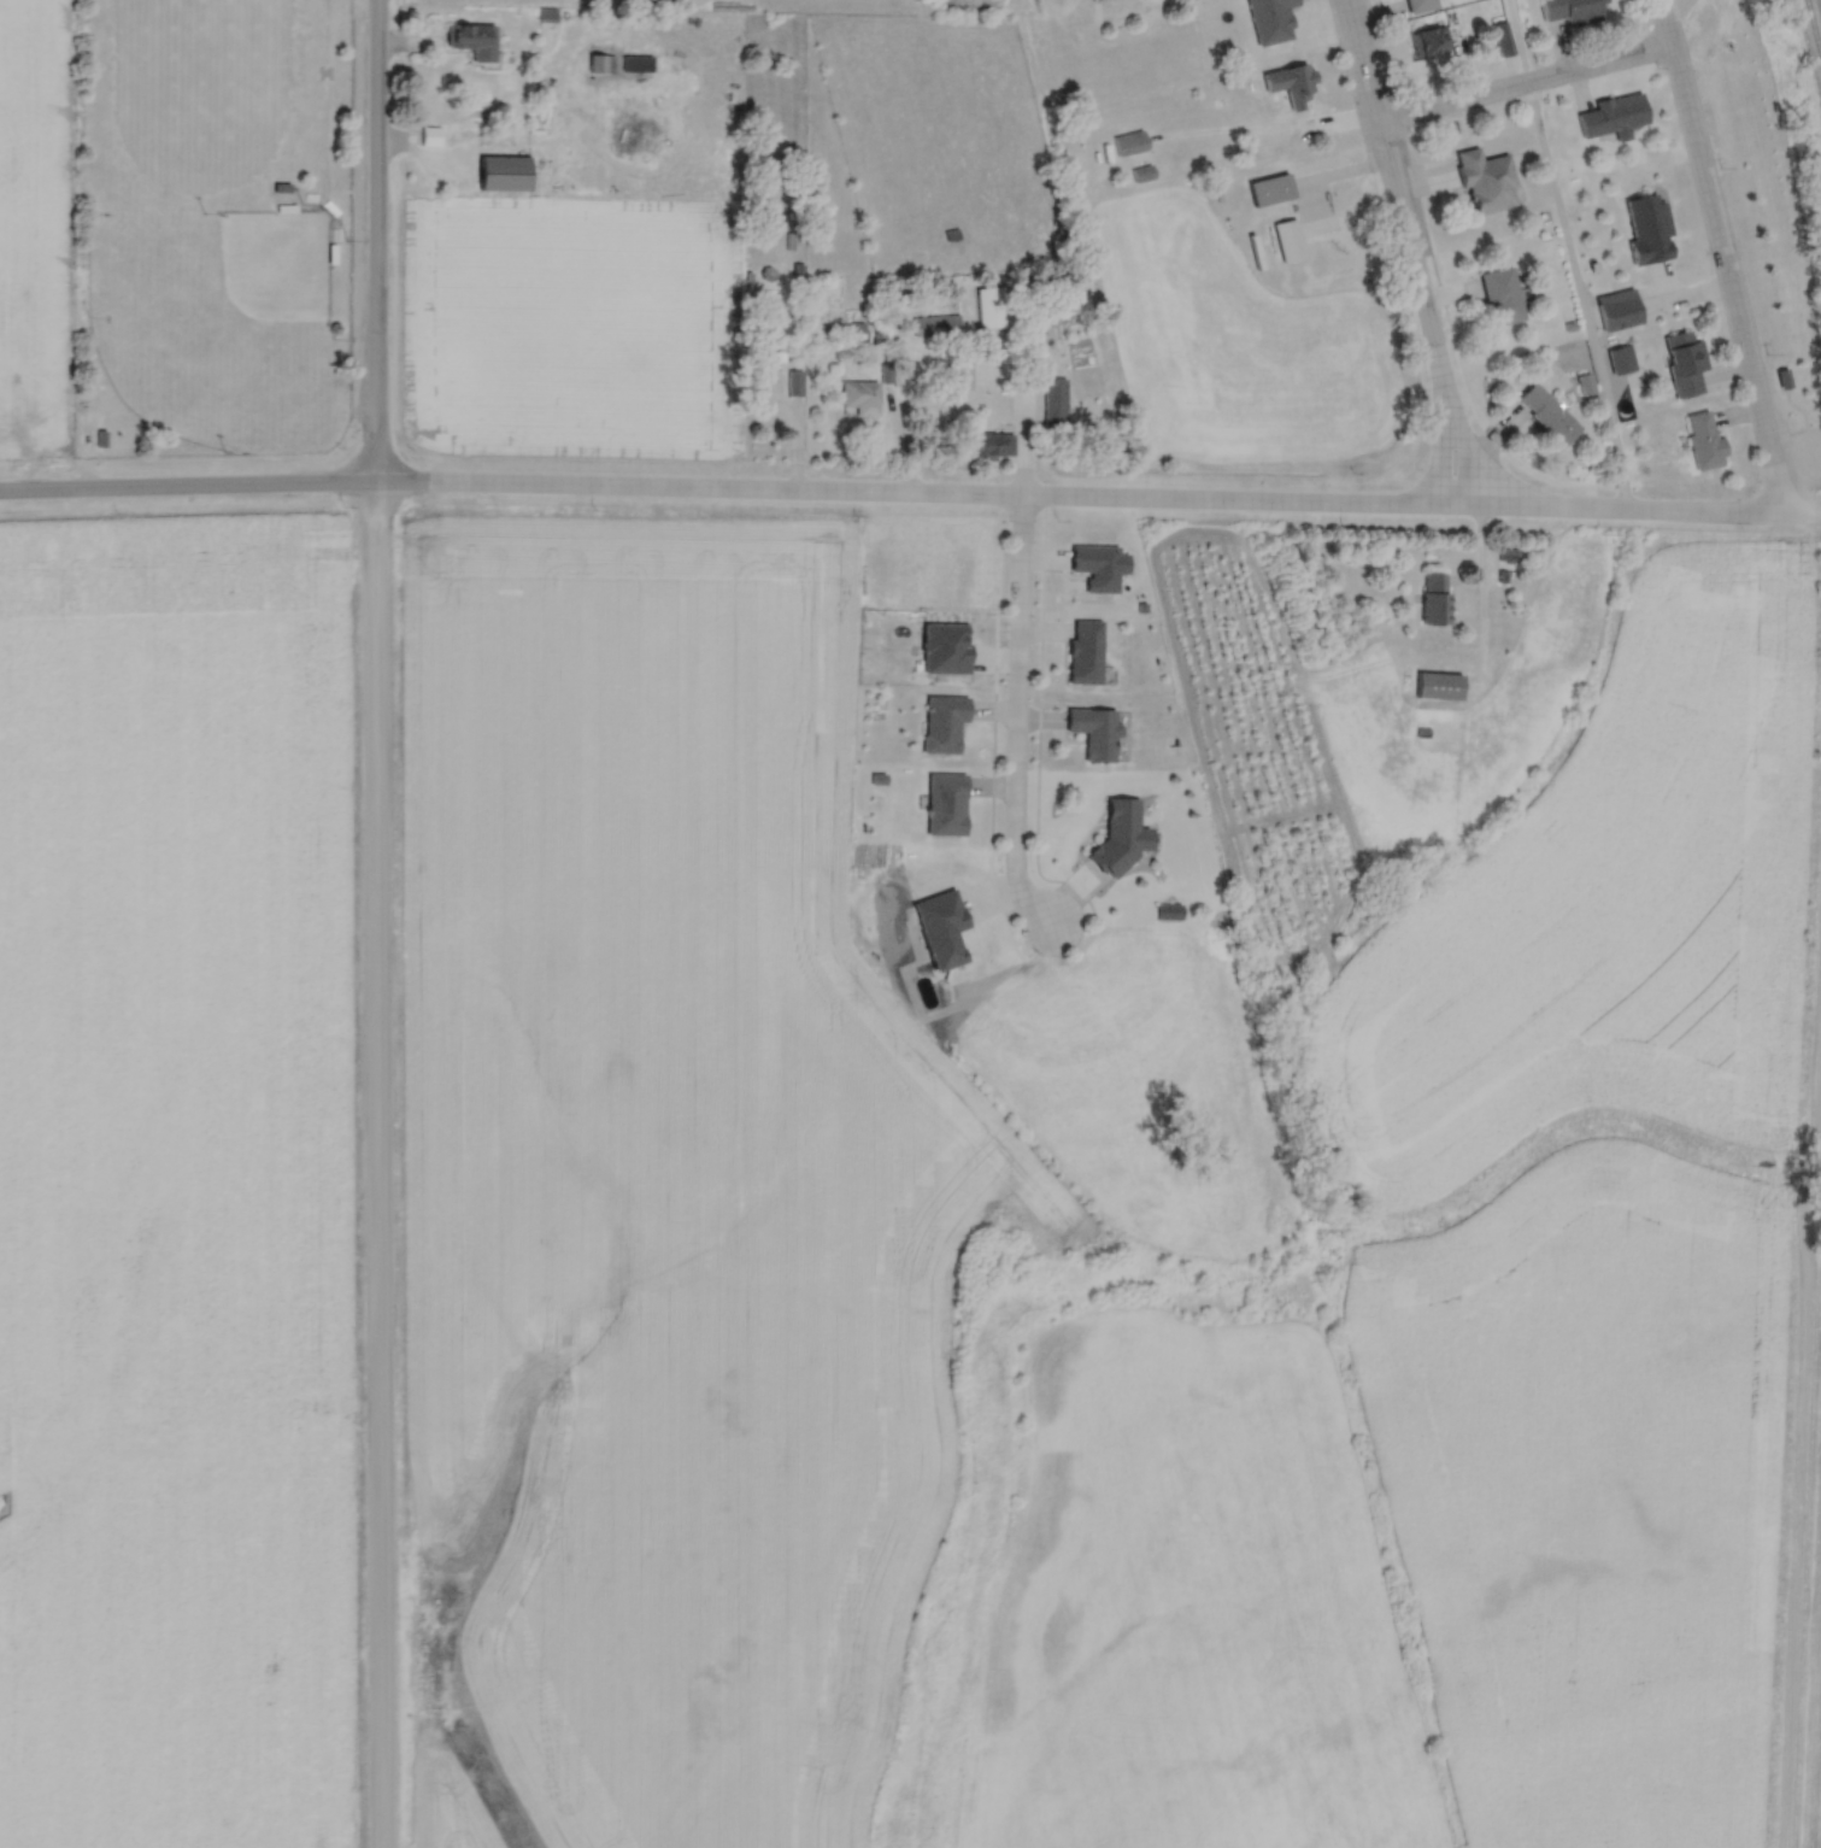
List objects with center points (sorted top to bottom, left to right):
crop: (1000, 1)
building: (1420, 5)
road: (1034, 6)
building: (1574, 11)
building: (1270, 20)
railway: (1814, 28)
building: (472, 40)
building: (1500, 40)
building: (1429, 42)
building: (604, 64)
building: (1291, 84)
road: (1522, 87)
building: (1613, 118)
building: (430, 136)
building: (1129, 143)
building: (500, 174)
building: (1485, 182)
building: (1268, 190)
road: (1394, 196)
building: (1646, 229)
building: (1287, 239)
road: (374, 240)
road: (1721, 256)
building: (1500, 298)
road: (1575, 299)
building: (991, 306)
building: (1616, 311)
building: (936, 324)
building: (1620, 360)
building: (1684, 364)
building: (1782, 381)
building: (860, 397)
building: (1546, 415)
building: (1703, 442)
building: (993, 444)
road: (1463, 446)
road: (1437, 448)
parking lot: (1808, 458)
road: (1787, 475)
road: (186, 486)
road: (917, 493)
road: (1641, 511)
building: (1434, 597)
building: (1083, 651)
building: (1438, 685)
road: (1015, 715)
building: (942, 723)
building: (1121, 833)
crop: (1602, 907)
road: (377, 1164)
road: (1798, 1397)
crop: (1586, 1492)
crop: (454, 1795)

